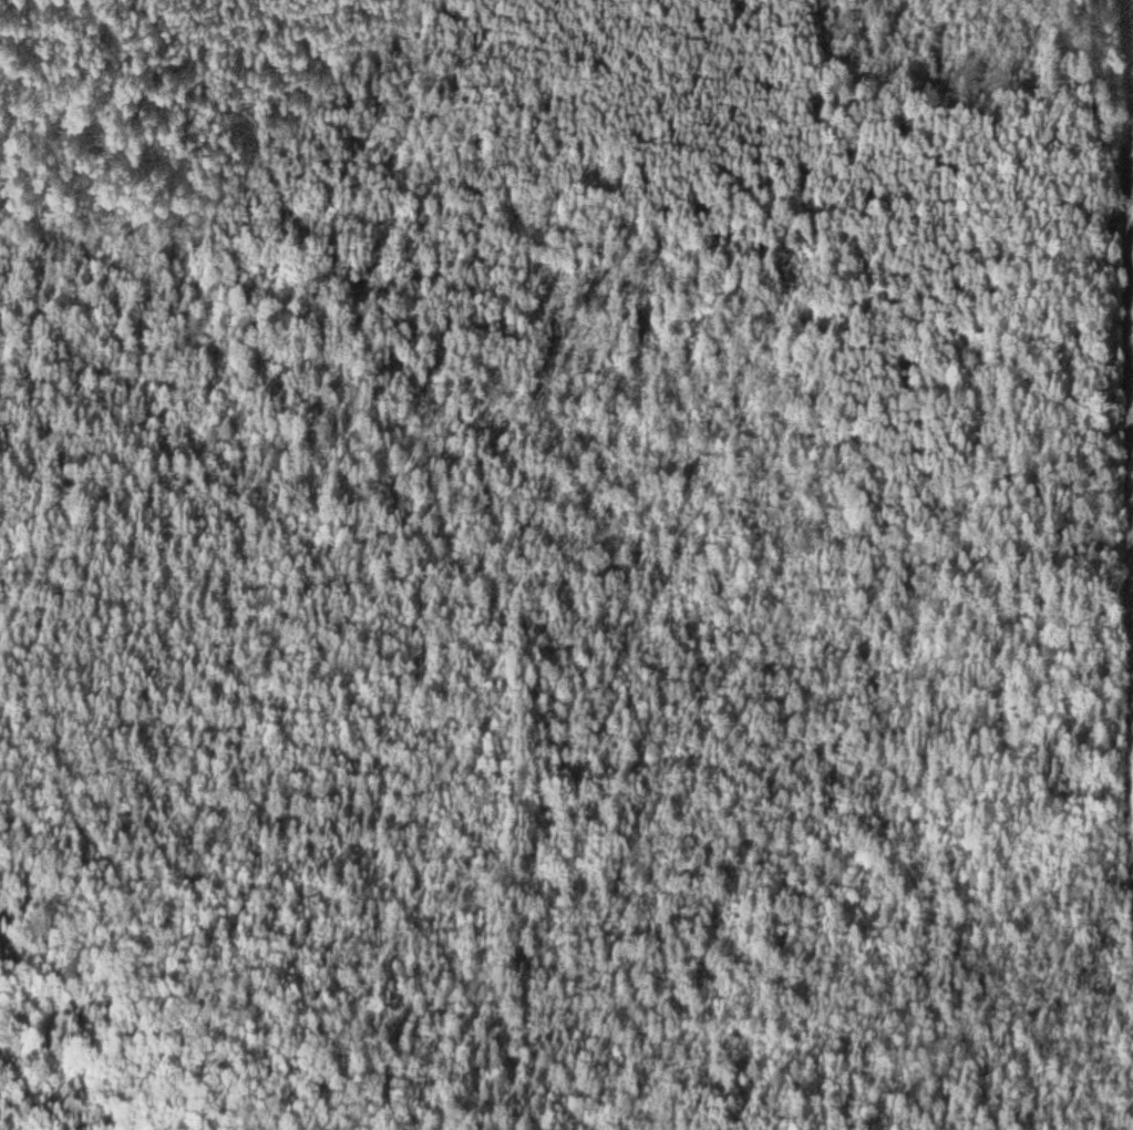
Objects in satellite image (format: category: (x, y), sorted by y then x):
road: (1132, 84)

